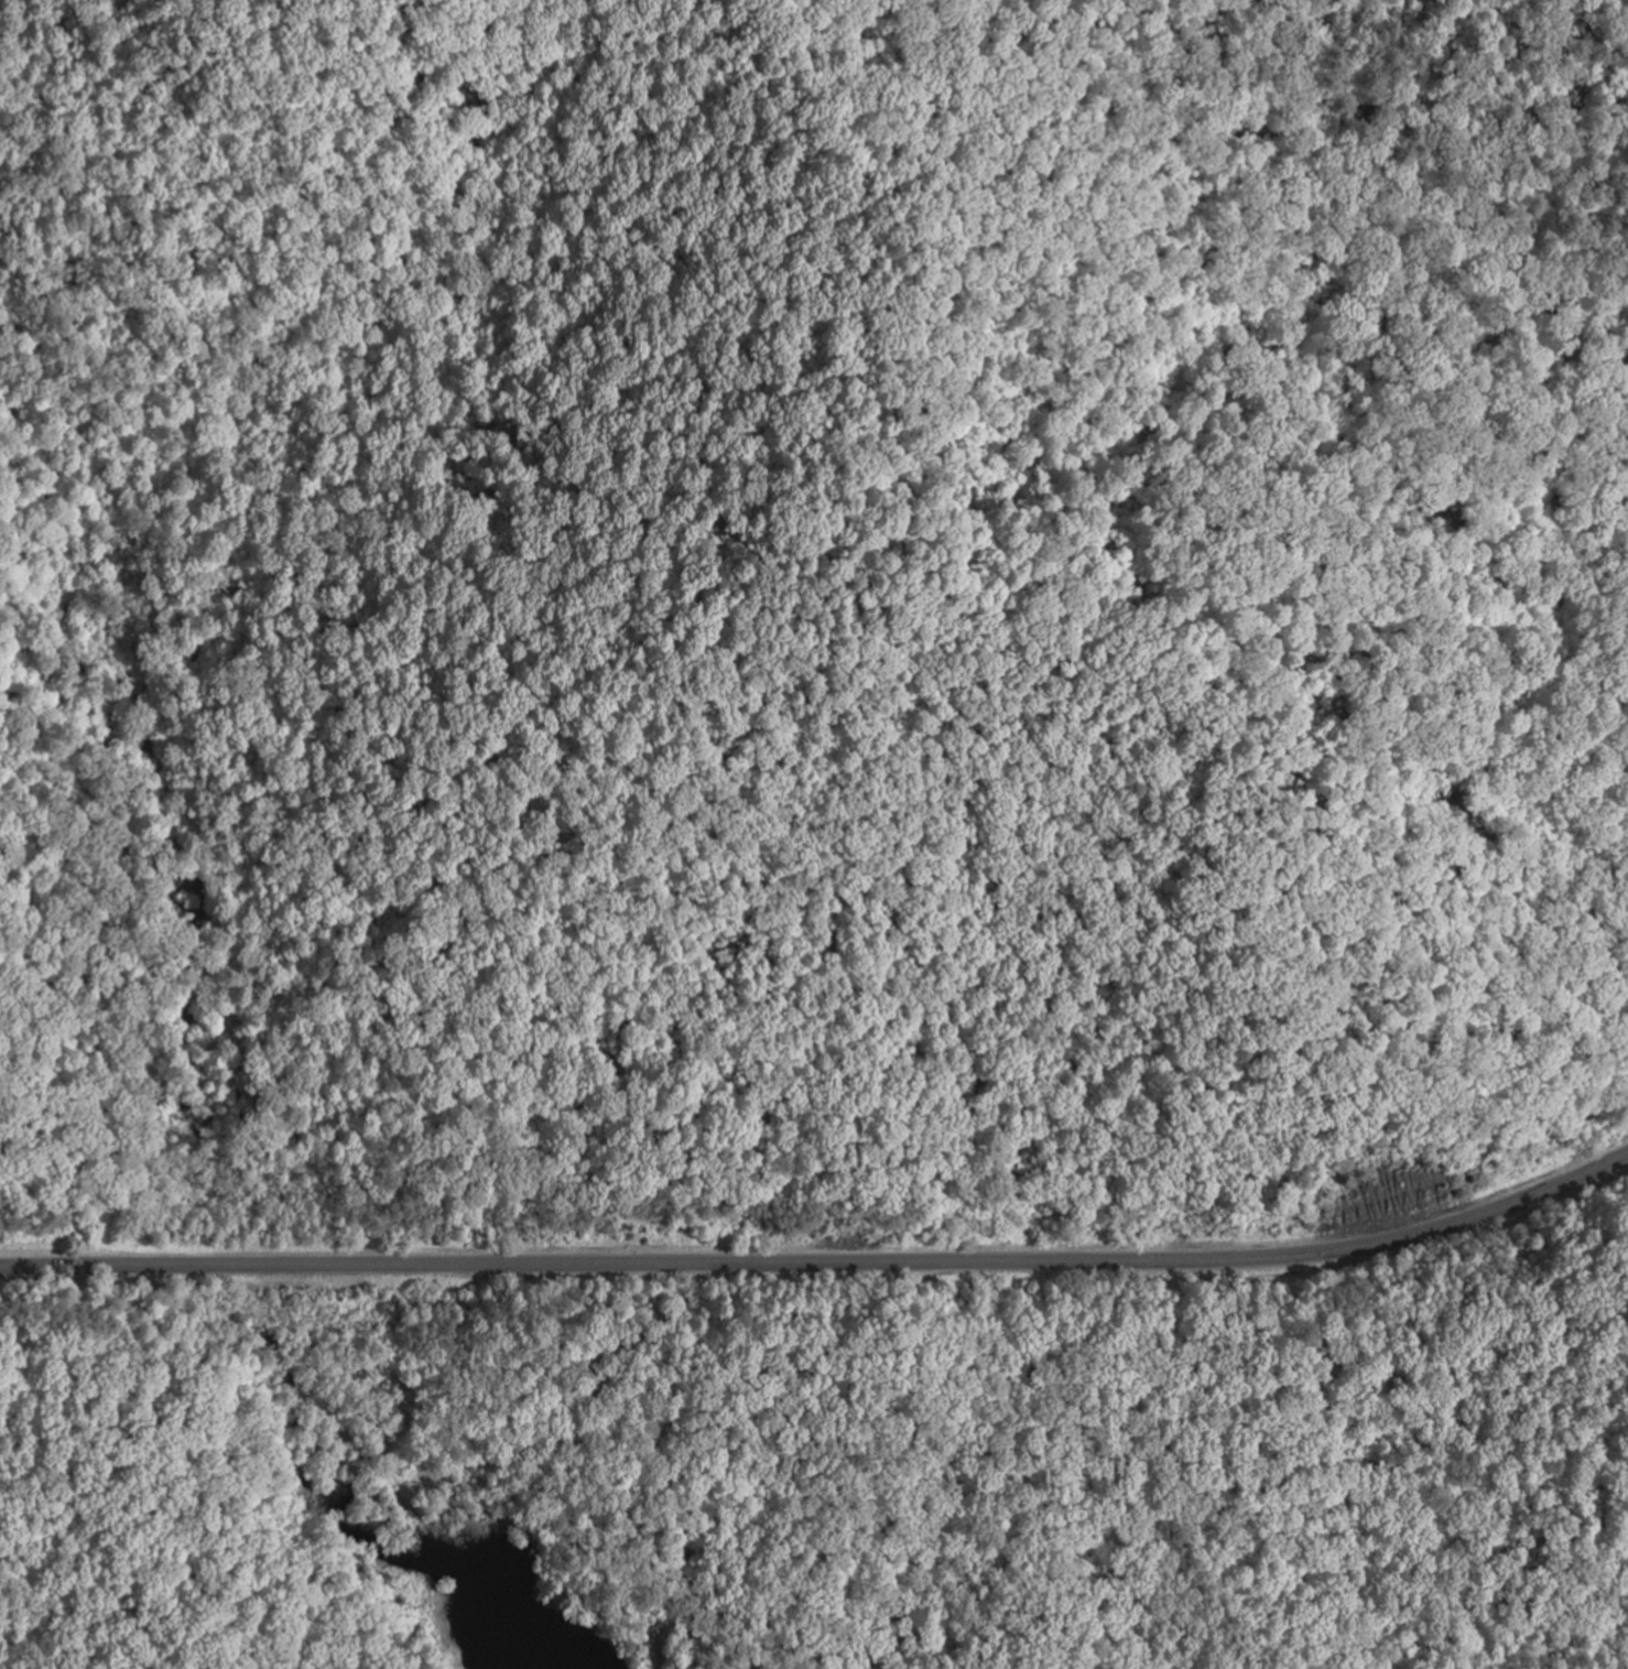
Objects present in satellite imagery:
road: (823, 1261)

